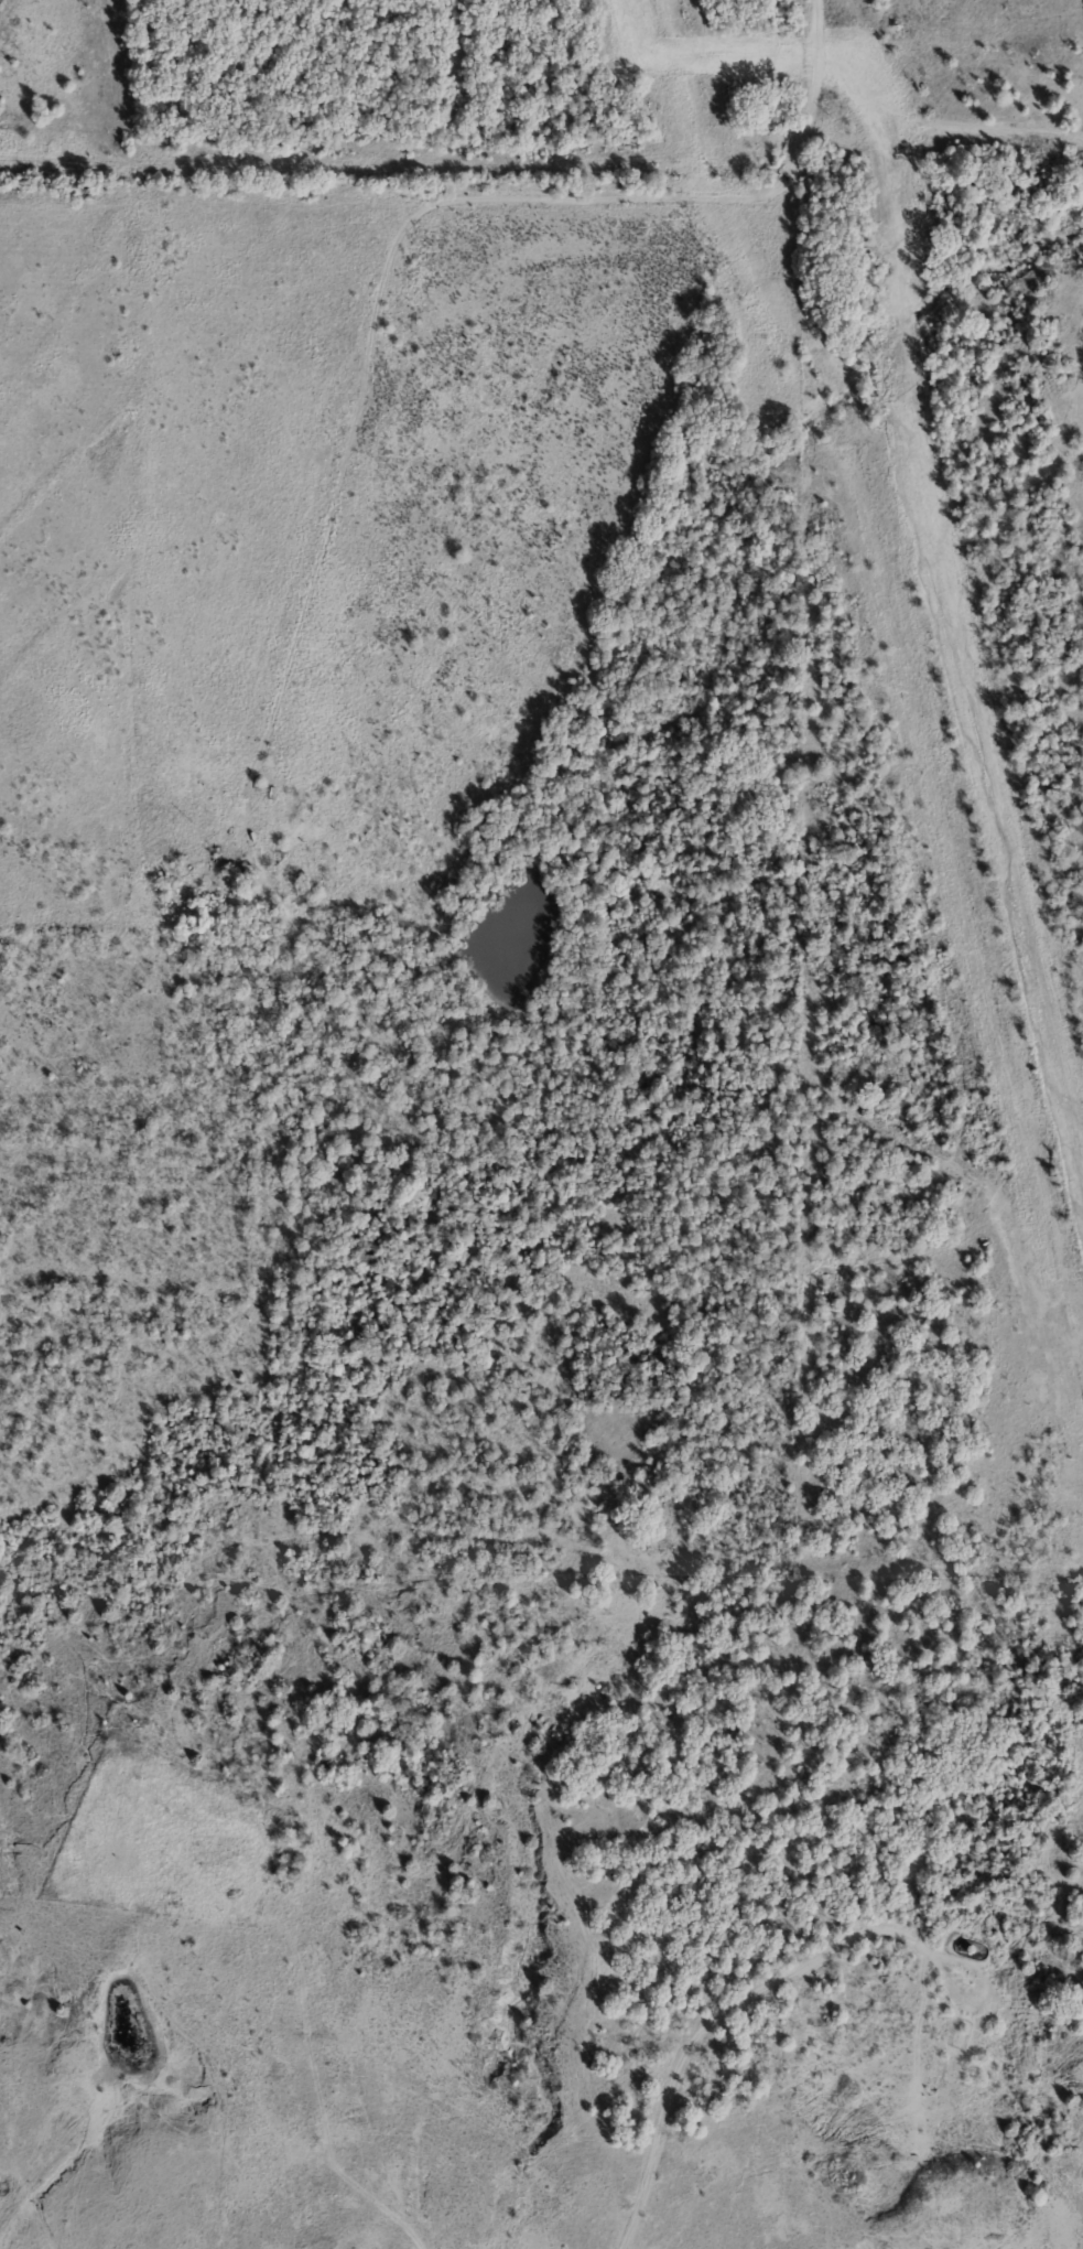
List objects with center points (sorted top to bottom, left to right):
road: (104, 126)
road: (982, 1999)
road: (714, 2020)

